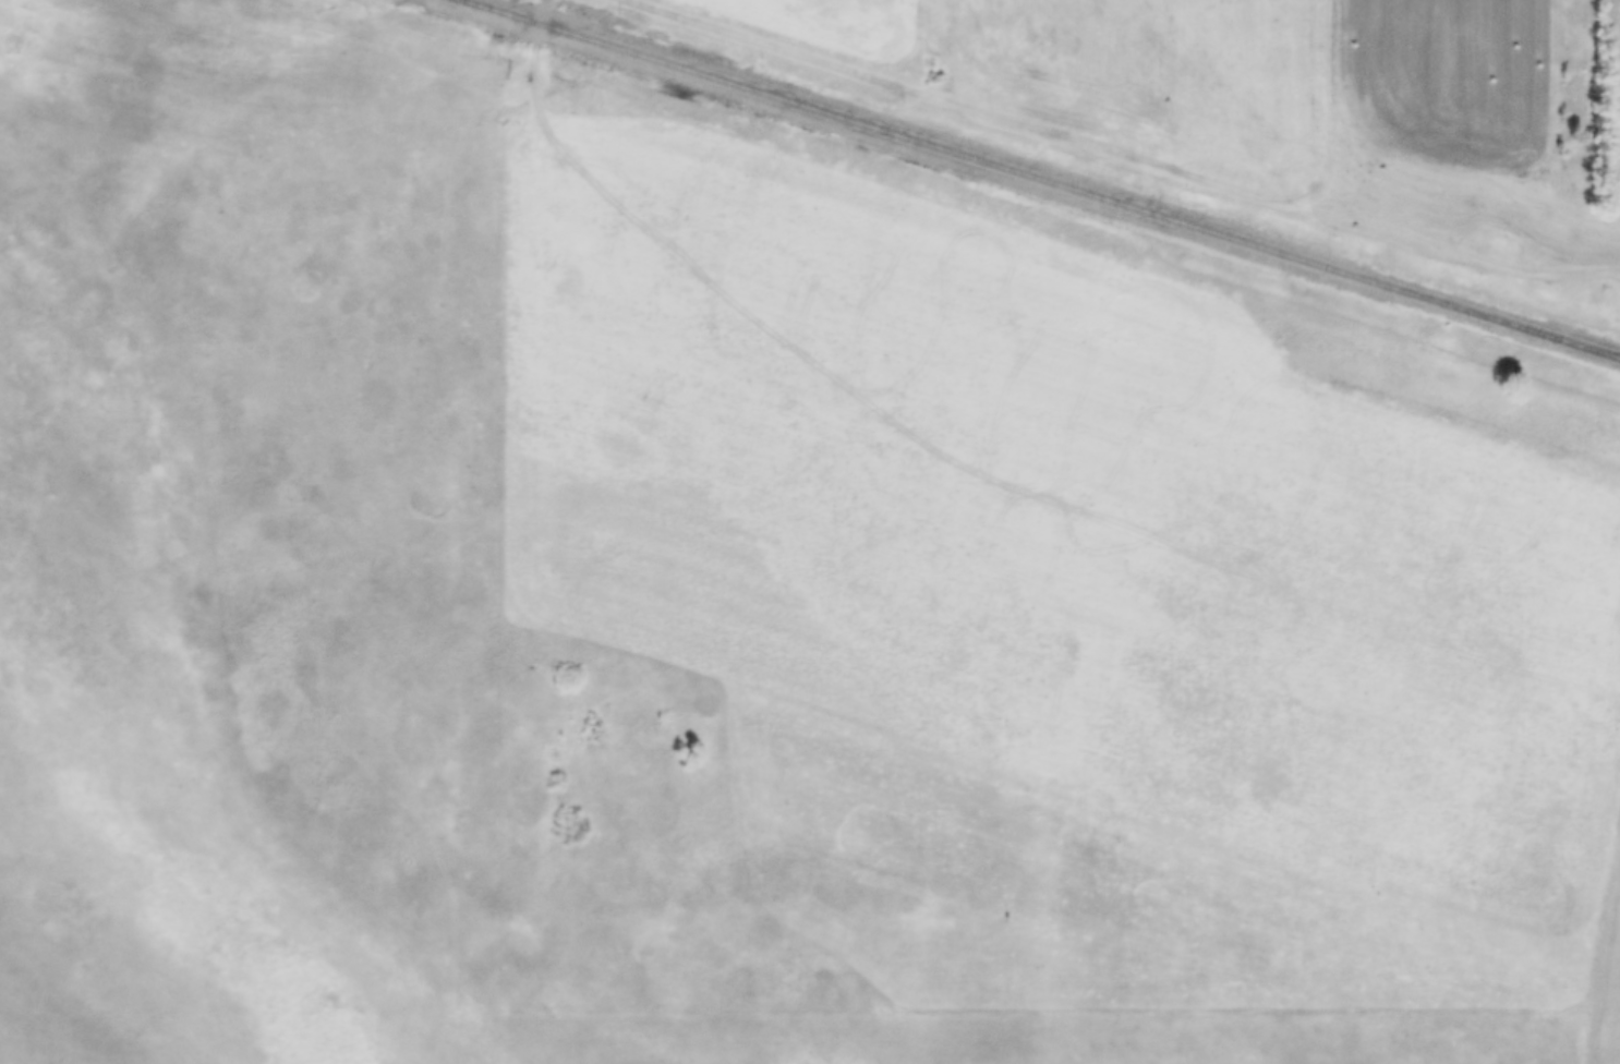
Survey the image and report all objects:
road: (522, 58)
railway: (1032, 179)

